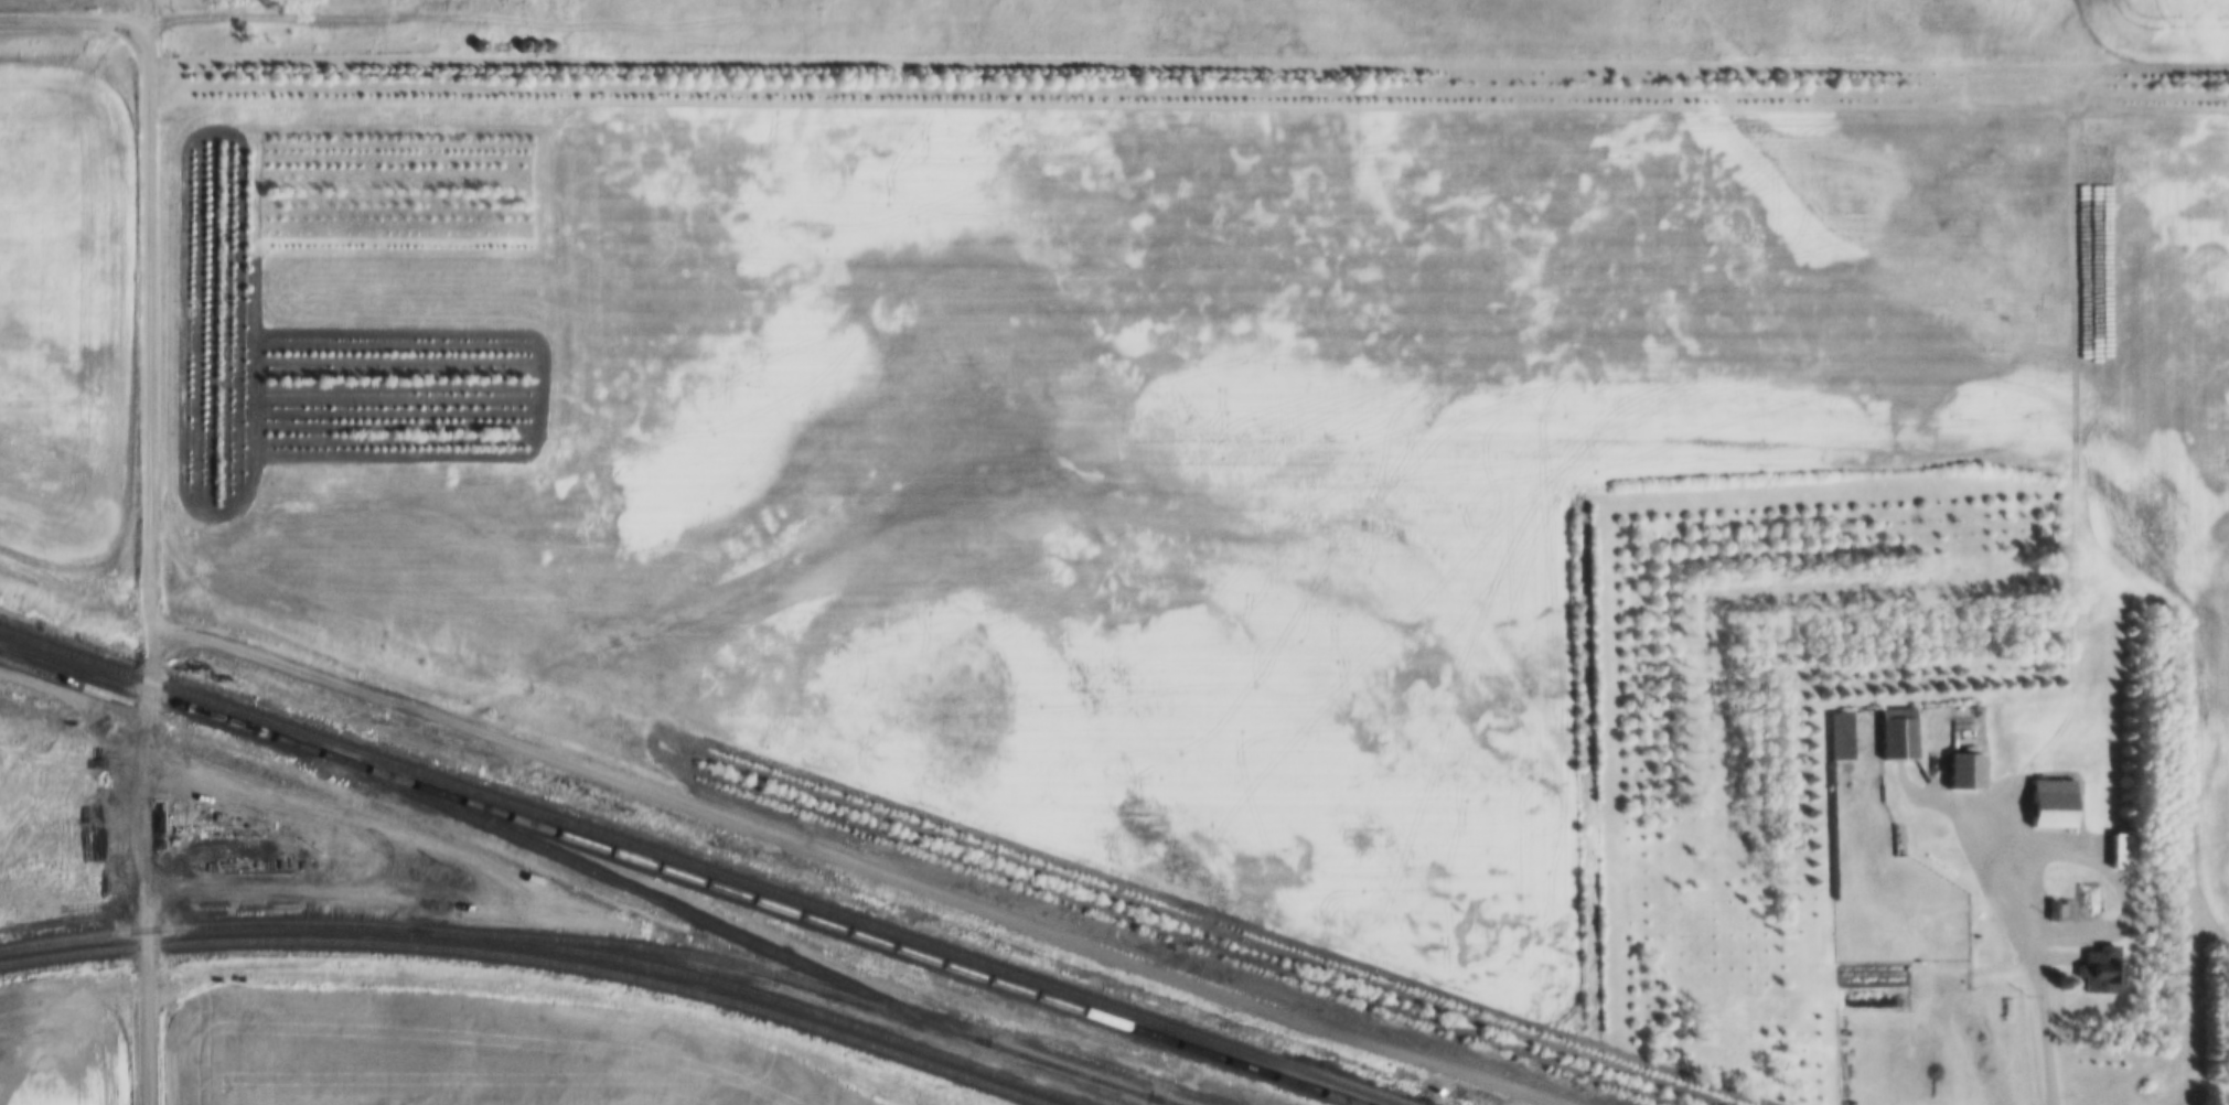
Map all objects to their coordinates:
road: (85, 14)
road: (154, 340)
building: (1890, 723)
building: (1832, 725)
building: (1958, 761)
road: (148, 780)
building: (2045, 792)
building: (2115, 839)
building: (1899, 840)
road: (881, 857)
building: (1923, 857)
railway: (696, 868)
building: (1926, 872)
railway: (674, 876)
building: (2046, 898)
railway: (207, 926)
building: (1984, 957)
building: (2091, 958)
road: (2046, 967)
railway: (799, 980)
railway: (755, 995)
road: (148, 1018)
railway: (1019, 1042)
railway: (1050, 1070)
building: (1429, 1081)
railway: (1369, 1097)

